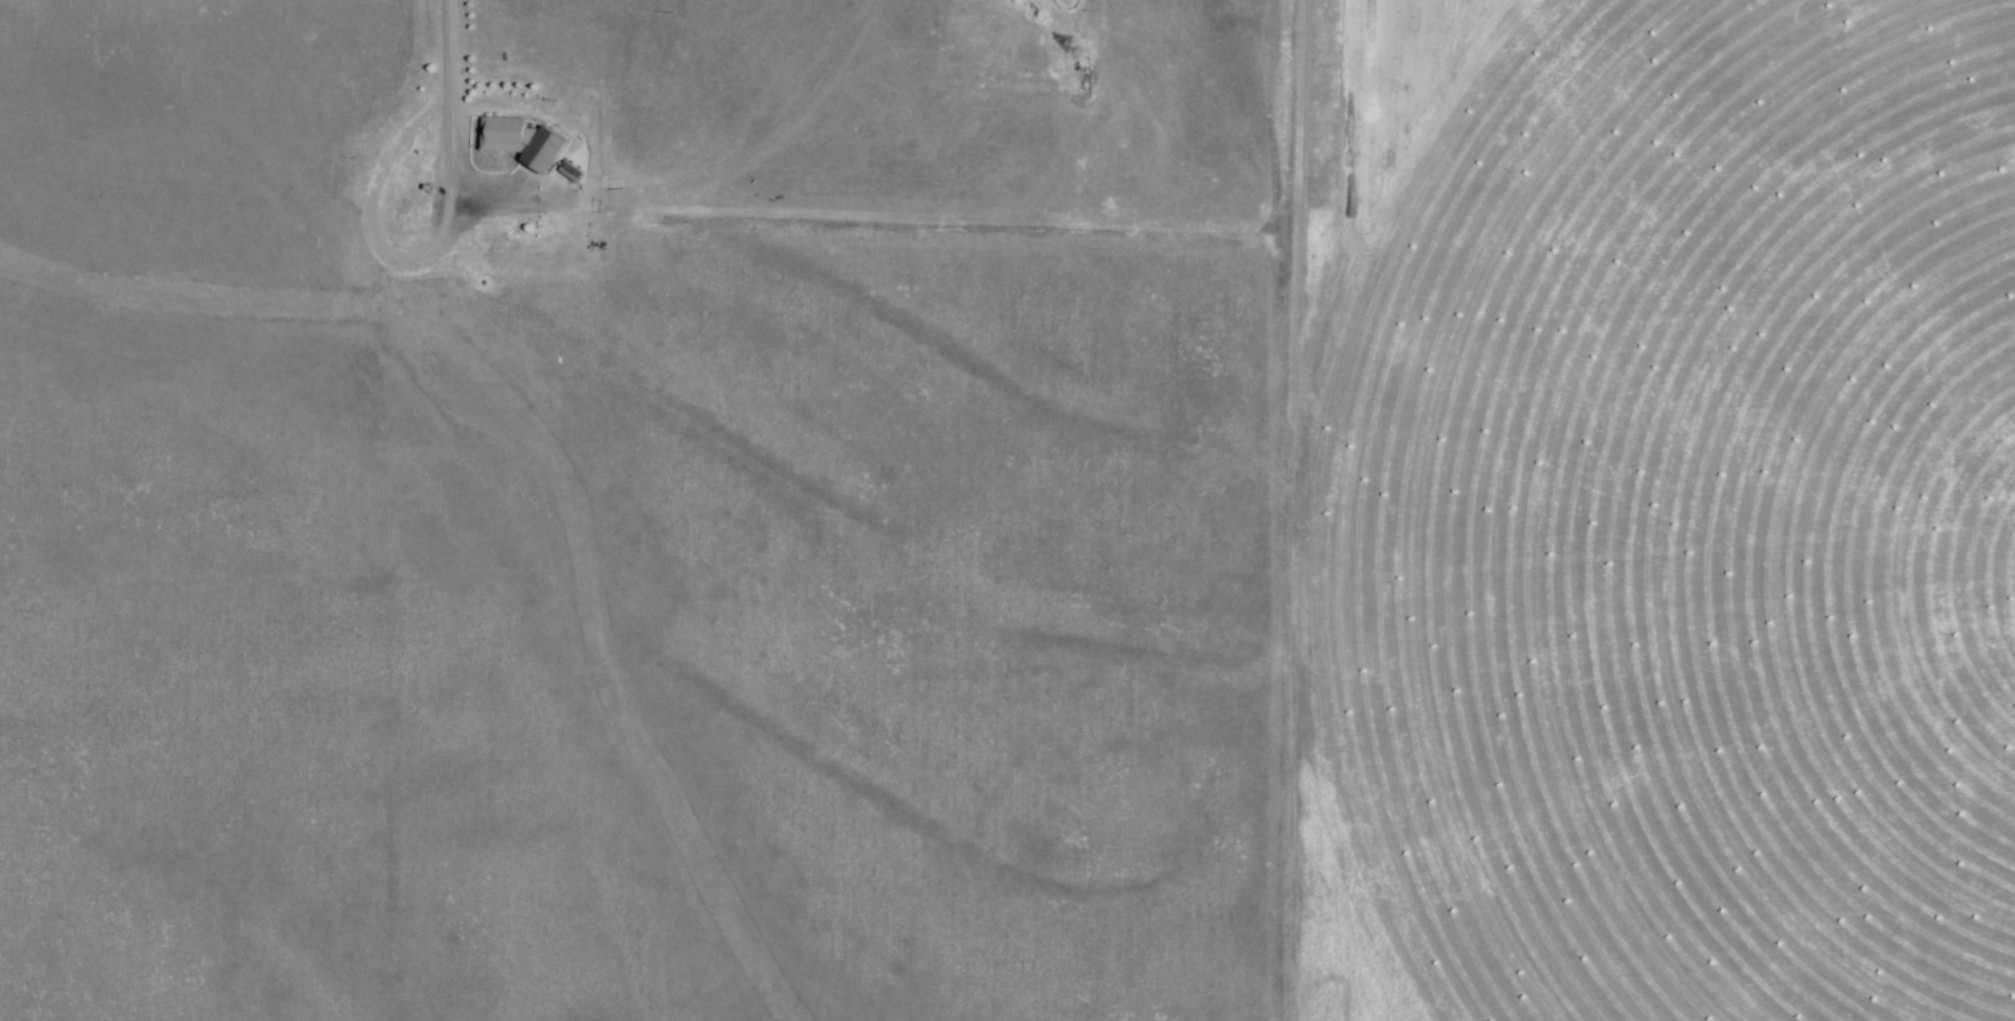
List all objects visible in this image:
building: (521, 141)
road: (446, 165)
building: (570, 174)
road: (362, 223)
crop: (1677, 535)

